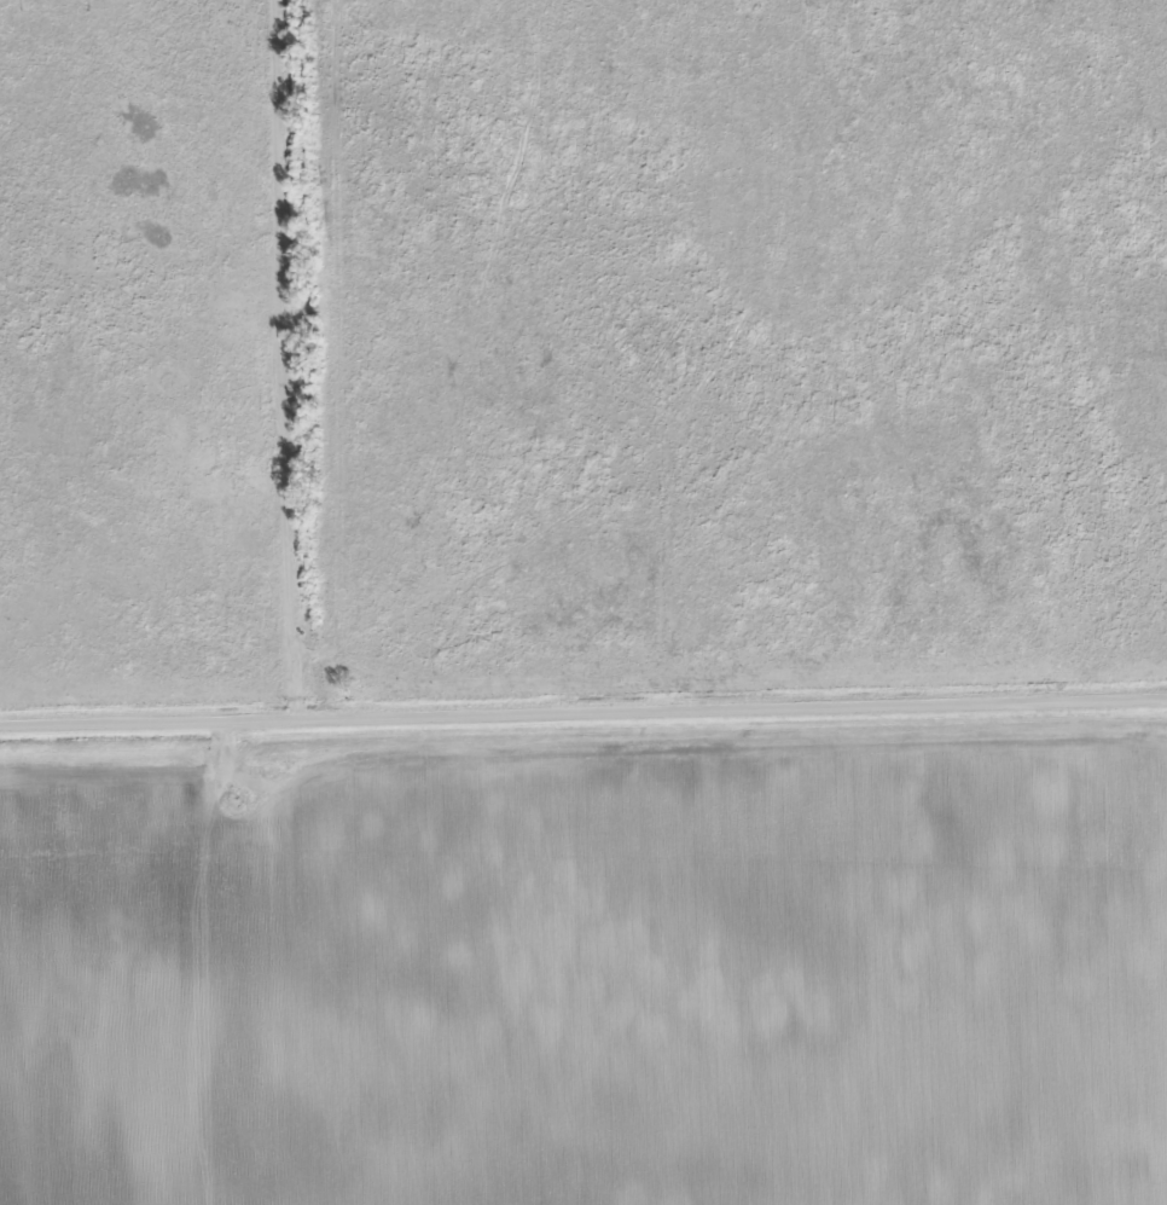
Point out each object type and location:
road: (279, 358)
road: (583, 709)

